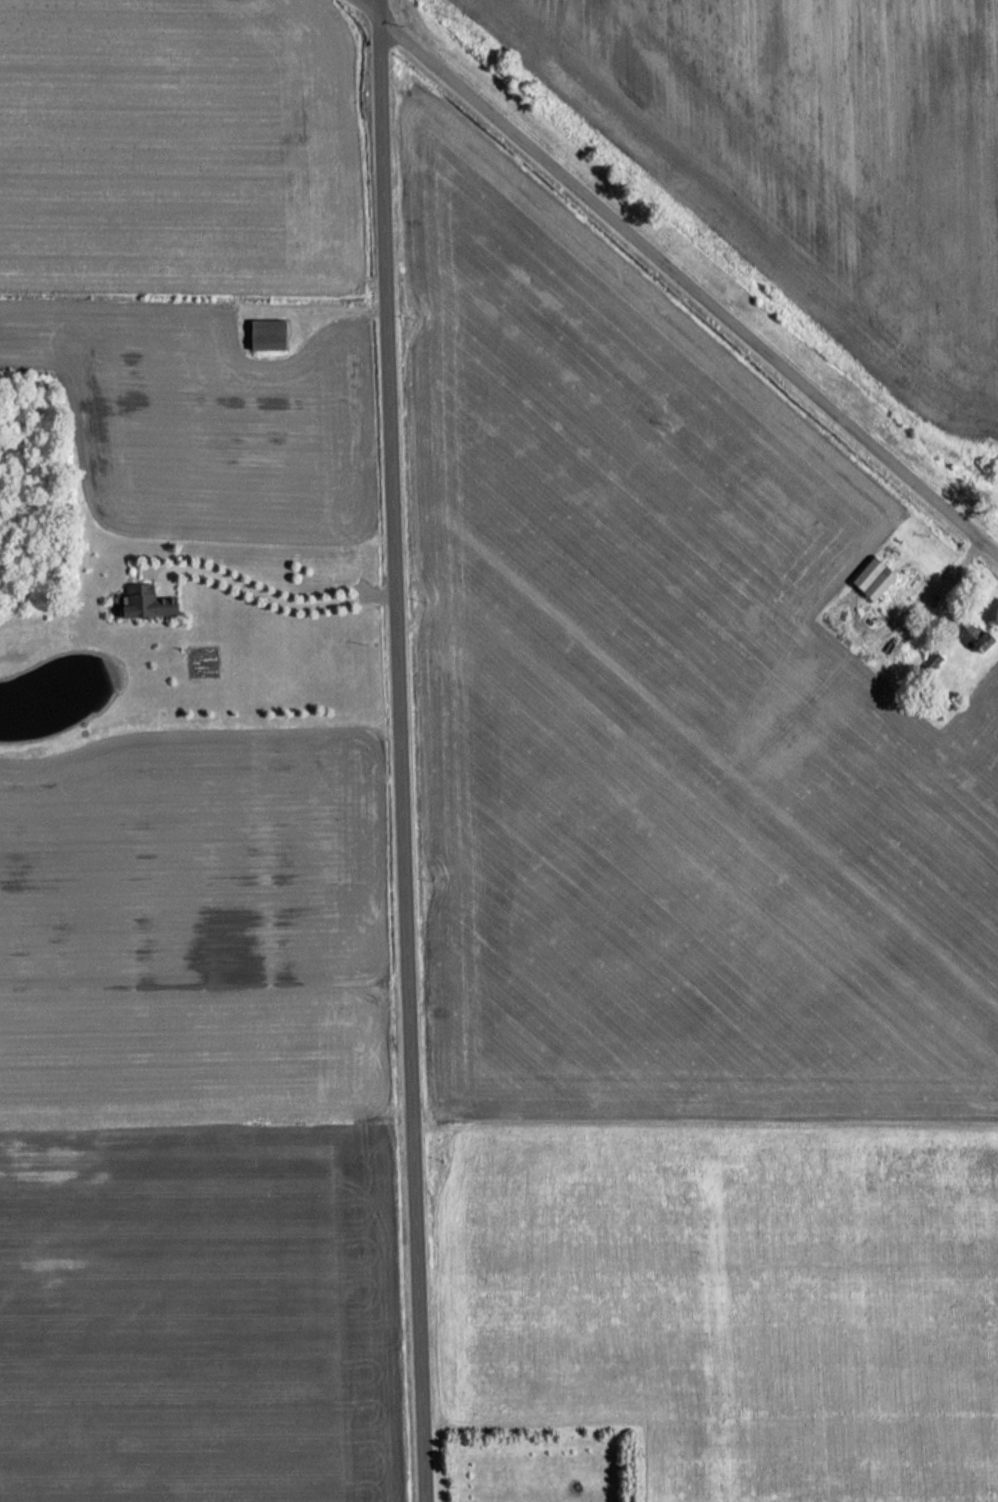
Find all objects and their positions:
road: (370, 7)
crop: (169, 145)
crop: (824, 145)
railway: (713, 248)
road: (688, 282)
building: (263, 335)
building: (870, 579)
road: (284, 604)
road: (404, 750)
crop: (699, 933)
crop: (196, 1122)

